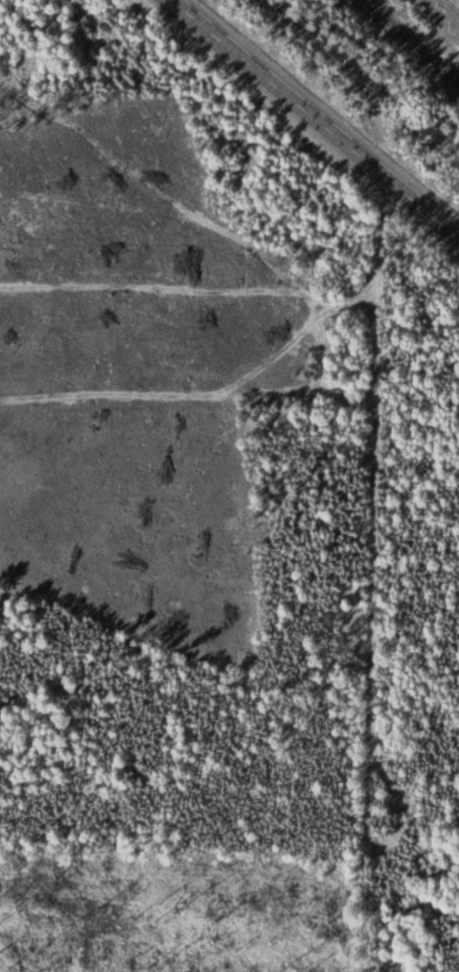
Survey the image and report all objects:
road: (453, 4)
railway: (393, 54)
road: (321, 113)
road: (352, 302)
road: (324, 318)
road: (370, 578)

